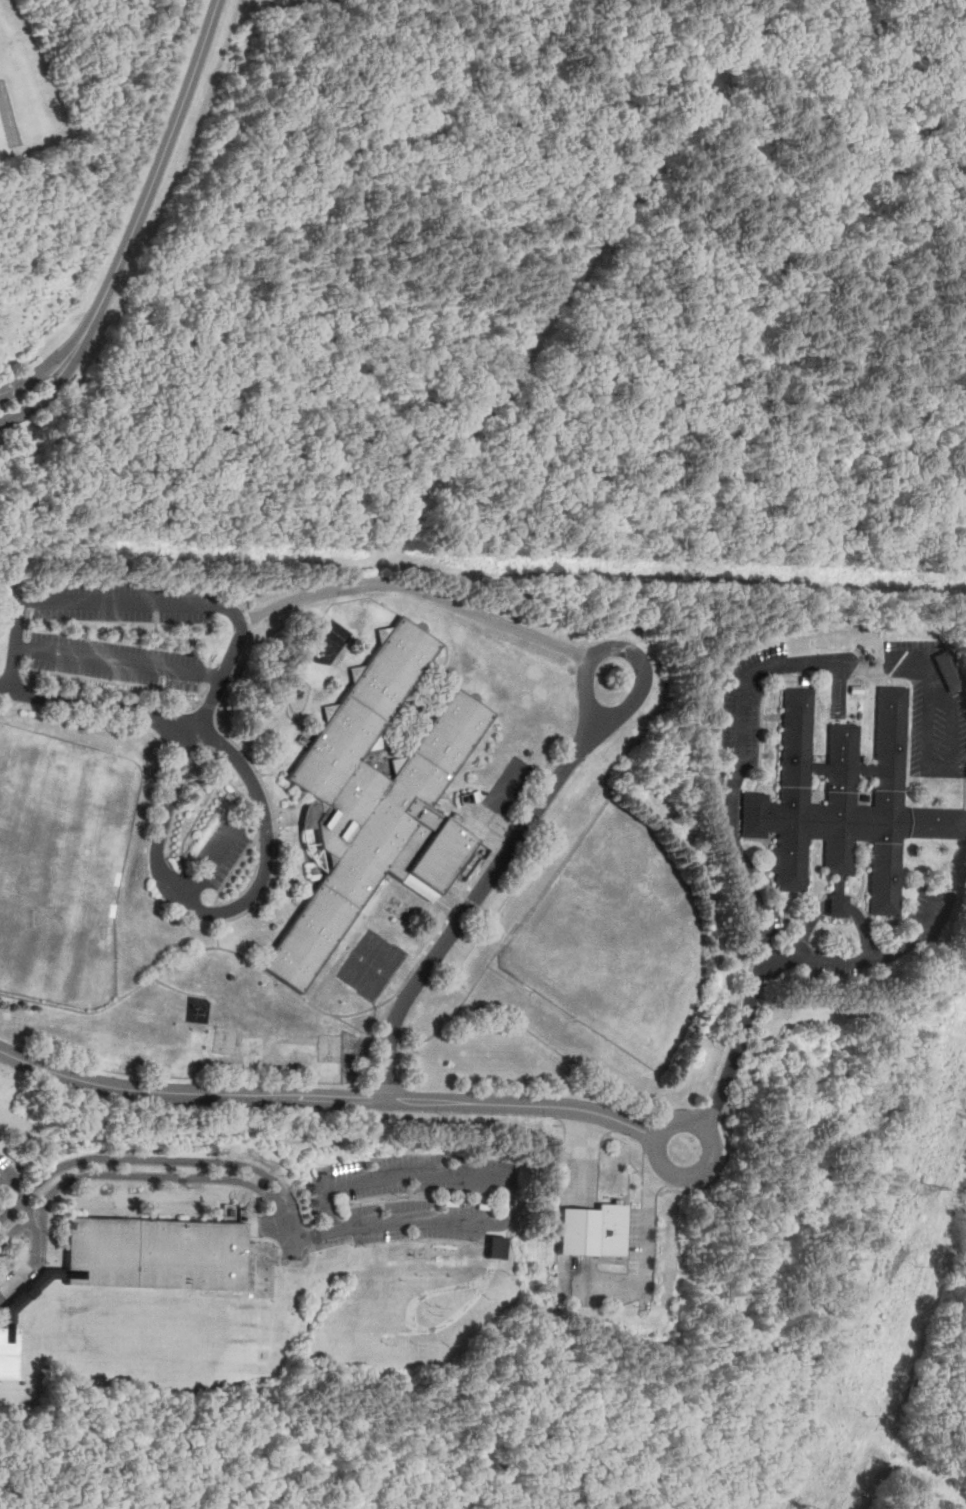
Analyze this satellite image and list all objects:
road: (152, 184)
road: (32, 376)
road: (42, 400)
road: (484, 564)
road: (4, 572)
road: (361, 584)
road: (213, 600)
road: (88, 601)
road: (627, 648)
road: (118, 659)
road: (792, 662)
road: (799, 667)
building: (949, 670)
road: (885, 672)
road: (448, 679)
building: (803, 680)
road: (892, 680)
road: (799, 681)
road: (429, 686)
road: (845, 690)
building: (856, 690)
road: (98, 705)
road: (773, 718)
road: (763, 725)
road: (575, 745)
road: (254, 767)
road: (935, 769)
road: (959, 773)
road: (539, 788)
building: (817, 789)
road: (819, 789)
building: (865, 790)
road: (866, 791)
road: (494, 795)
building: (376, 799)
building: (846, 802)
road: (476, 825)
road: (965, 827)
road: (502, 841)
road: (218, 850)
park: (55, 852)
road: (864, 869)
road: (838, 884)
road: (838, 893)
road: (791, 898)
building: (837, 900)
road: (472, 903)
road: (836, 904)
road: (214, 912)
road: (931, 914)
road: (769, 931)
park: (614, 936)
road: (899, 943)
road: (767, 948)
road: (841, 960)
park: (371, 963)
road: (511, 980)
road: (279, 981)
road: (468, 996)
road: (352, 1025)
road: (396, 1047)
road: (323, 1097)
road: (717, 1104)
road: (651, 1105)
road: (563, 1115)
road: (558, 1125)
road: (612, 1126)
road: (586, 1127)
road: (711, 1144)
road: (631, 1148)
road: (581, 1158)
road: (139, 1159)
road: (129, 1173)
road: (722, 1173)
road: (501, 1179)
road: (652, 1181)
power tower: (919, 1187)
road: (622, 1198)
road: (627, 1225)
building: (591, 1231)
road: (295, 1233)
road: (647, 1233)
road: (39, 1236)
building: (151, 1249)
road: (635, 1264)
road: (607, 1293)
road: (909, 1328)
building: (6, 1350)
road: (852, 1495)

